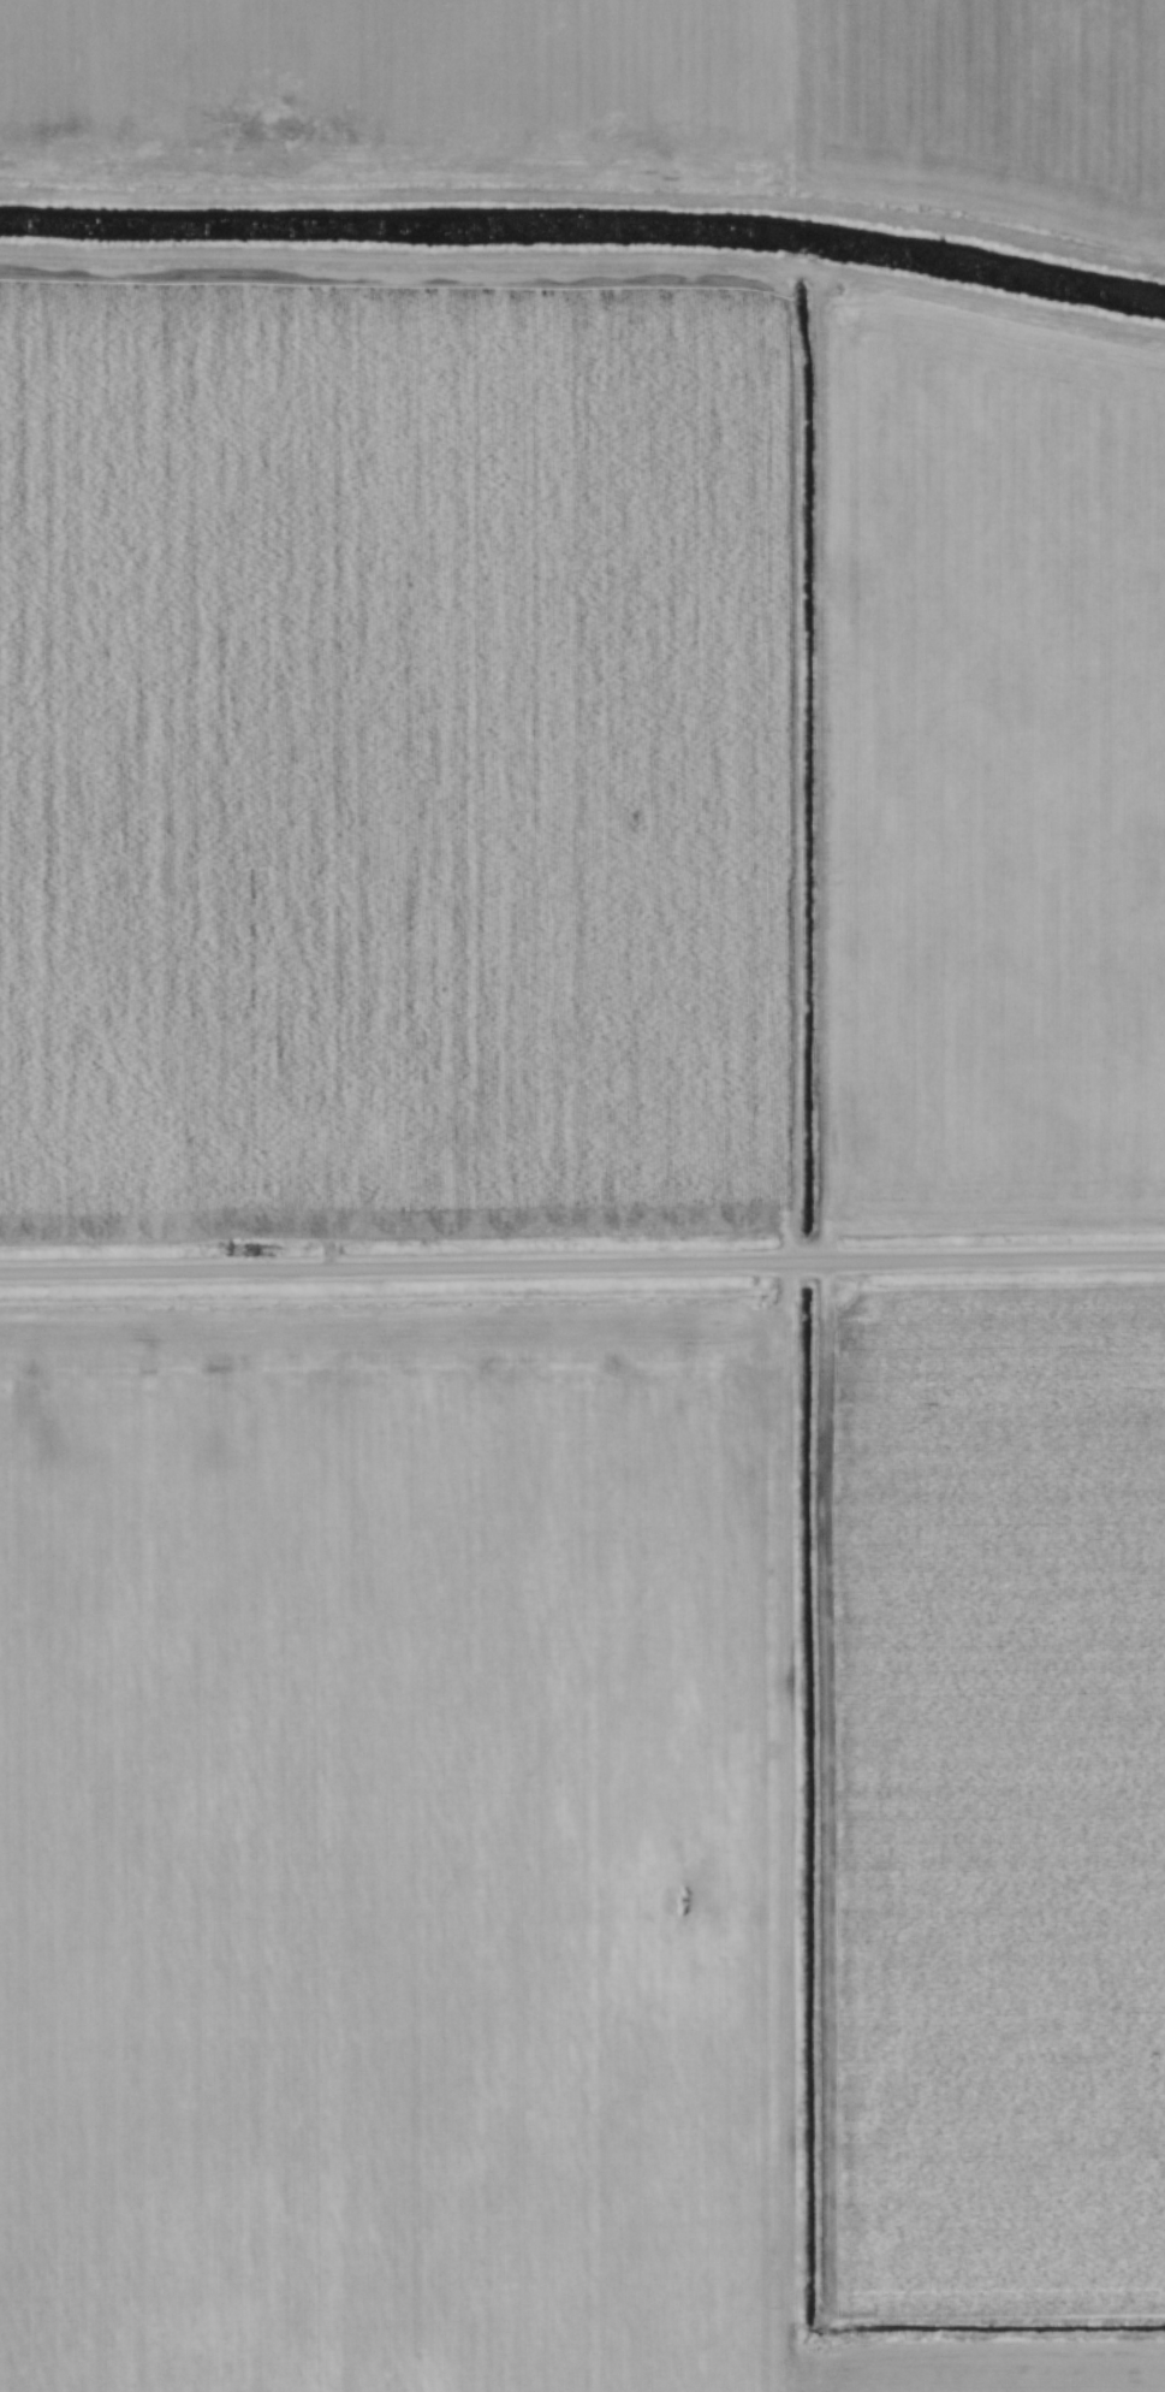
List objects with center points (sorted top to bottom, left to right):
crop: (622, 96)
crop: (573, 754)
road: (582, 1265)
crop: (583, 1839)

